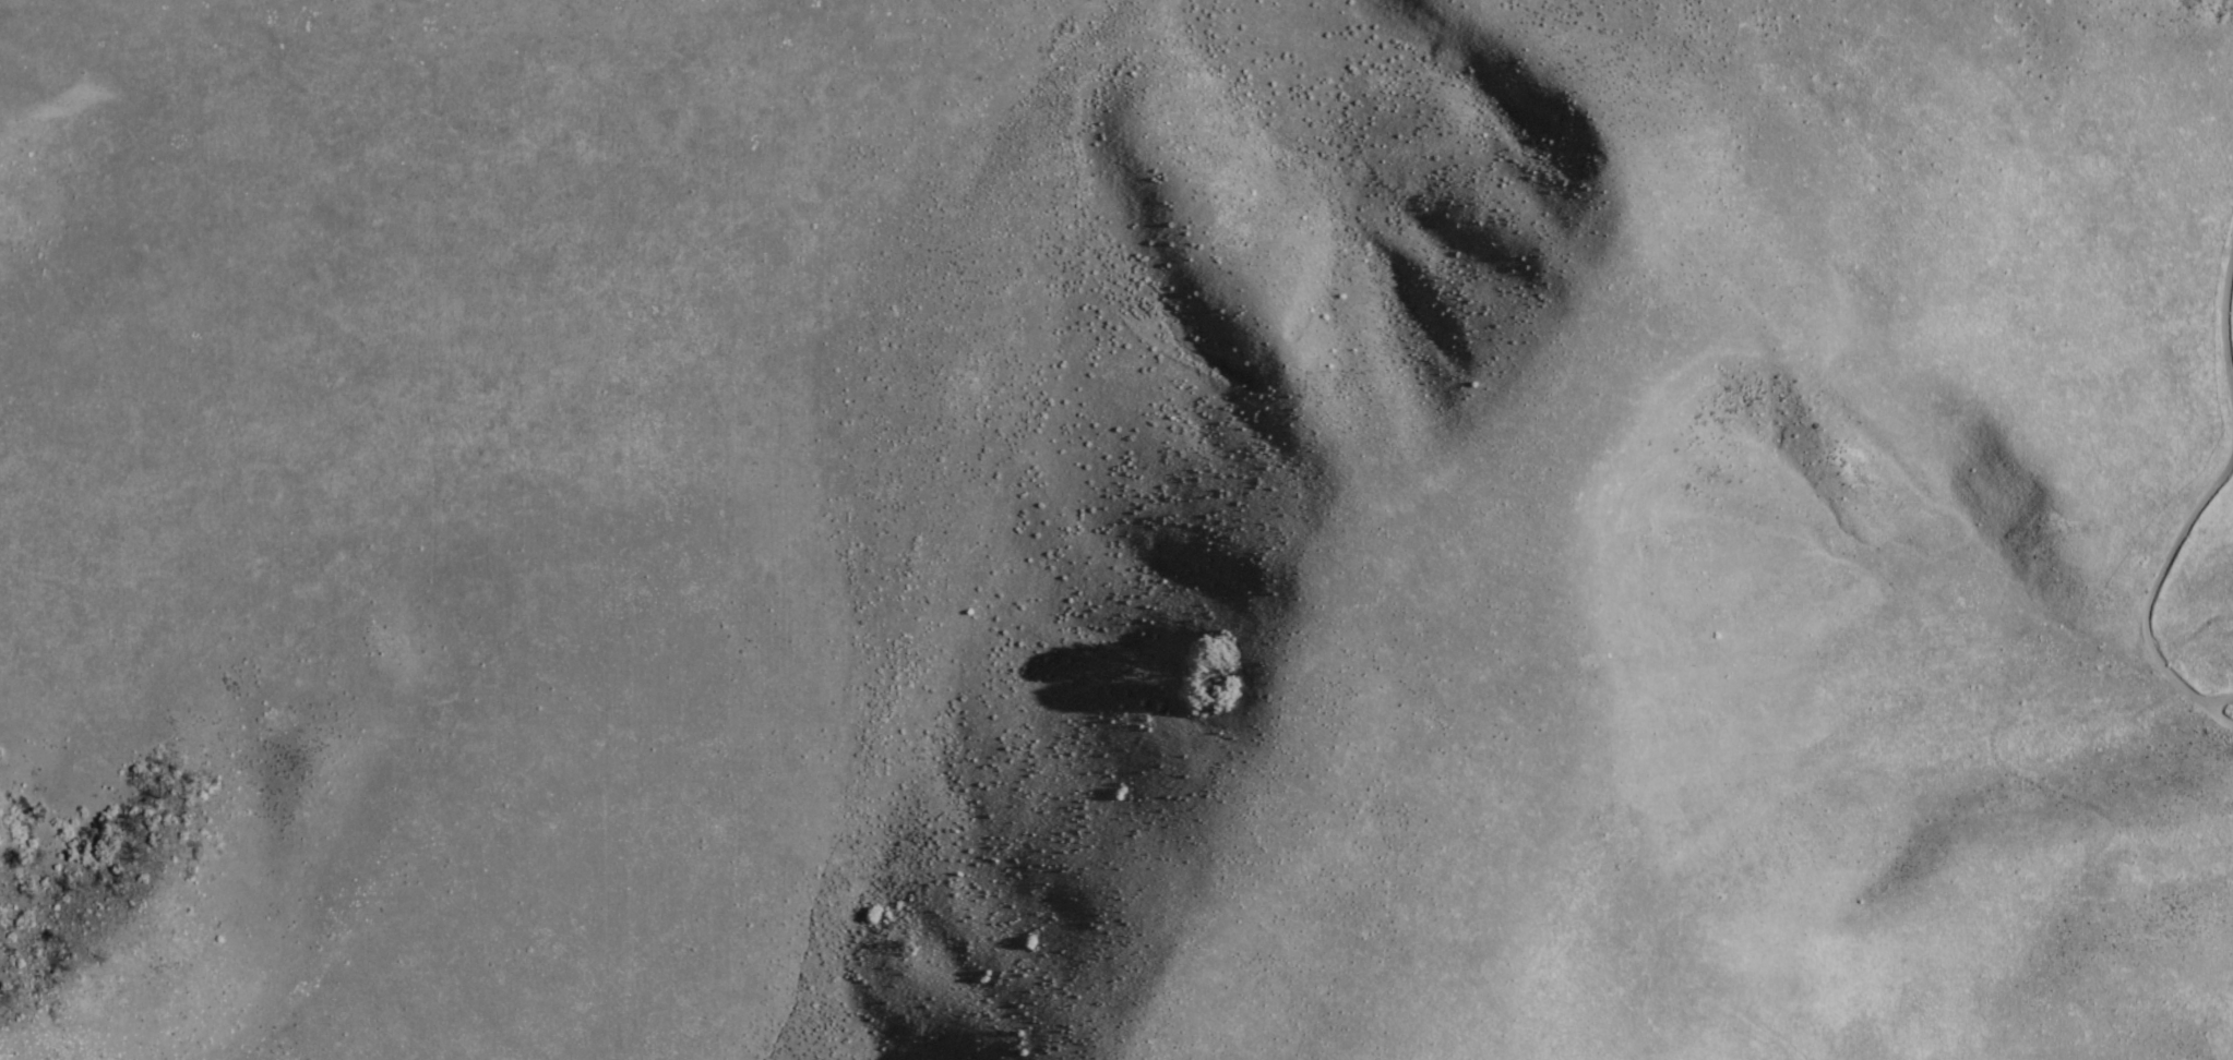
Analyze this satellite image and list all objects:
road: (2224, 315)
road: (2157, 577)
road: (2218, 700)
road: (2218, 713)

